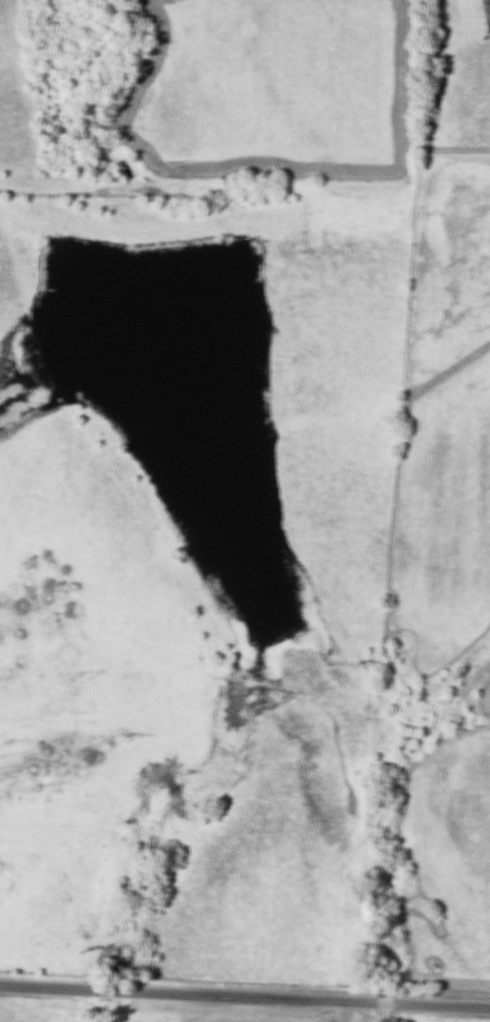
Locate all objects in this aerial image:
road: (244, 999)
road: (344, 1012)

